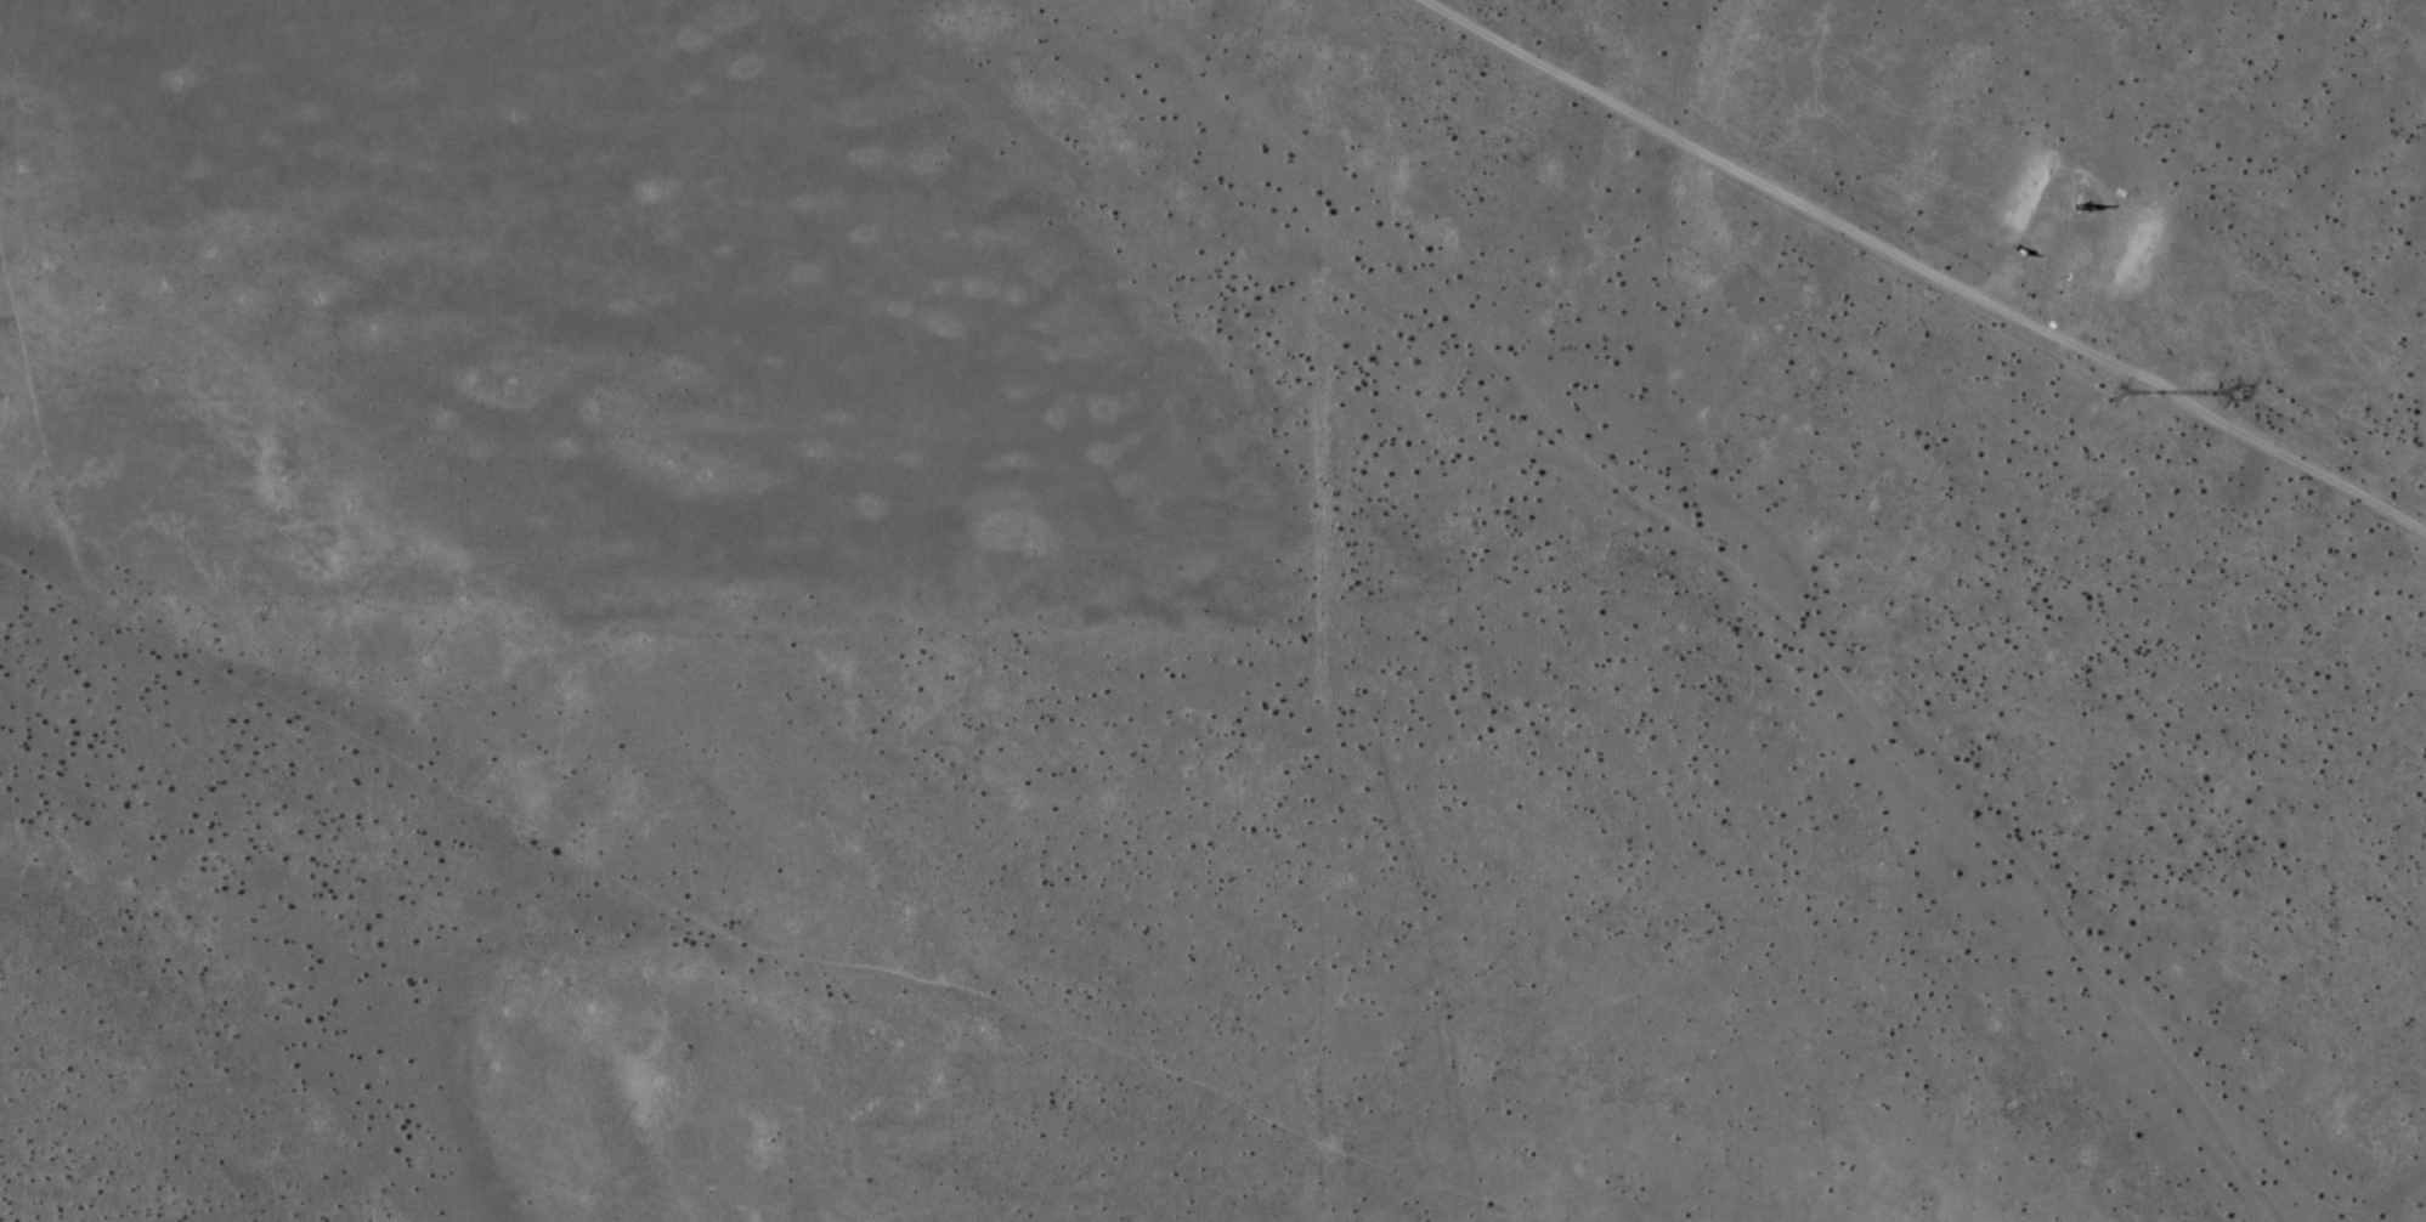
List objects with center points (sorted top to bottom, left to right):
power tower: (2150, 394)

